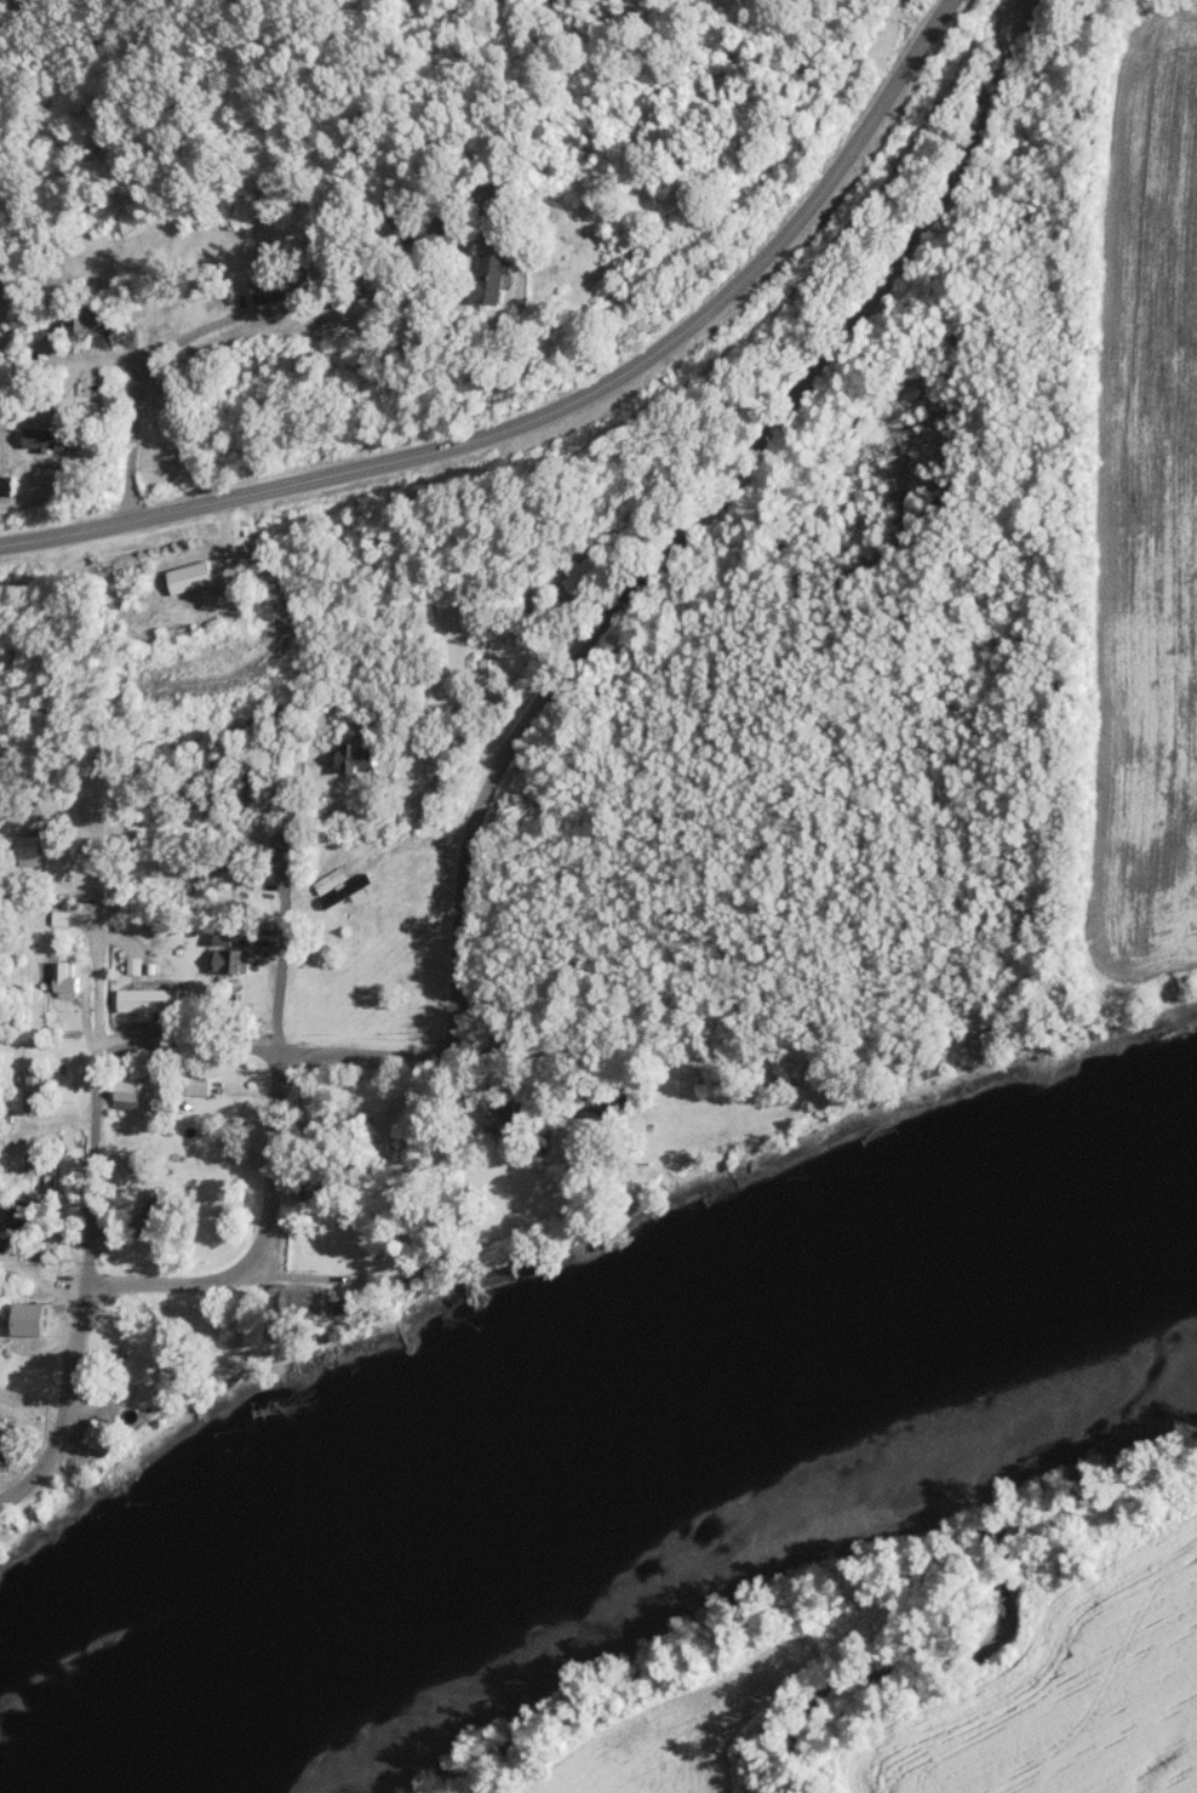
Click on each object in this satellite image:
building: (491, 270)
building: (275, 285)
building: (96, 329)
road: (188, 333)
road: (554, 402)
building: (50, 438)
building: (7, 486)
road: (695, 504)
building: (578, 573)
building: (485, 670)
building: (356, 760)
building: (27, 849)
building: (337, 885)
road: (279, 932)
building: (220, 958)
building: (63, 977)
building: (144, 998)
road: (594, 1022)
road: (361, 1038)
road: (185, 1041)
road: (94, 1087)
building: (30, 1089)
building: (125, 1091)
building: (314, 1117)
building: (499, 1120)
building: (122, 1143)
building: (38, 1172)
building: (311, 1187)
building: (18, 1211)
building: (142, 1224)
road: (259, 1238)
road: (17, 1268)
road: (59, 1285)
building: (299, 1297)
road: (62, 1404)
building: (98, 1432)
river: (652, 1447)
crop: (1058, 1701)

